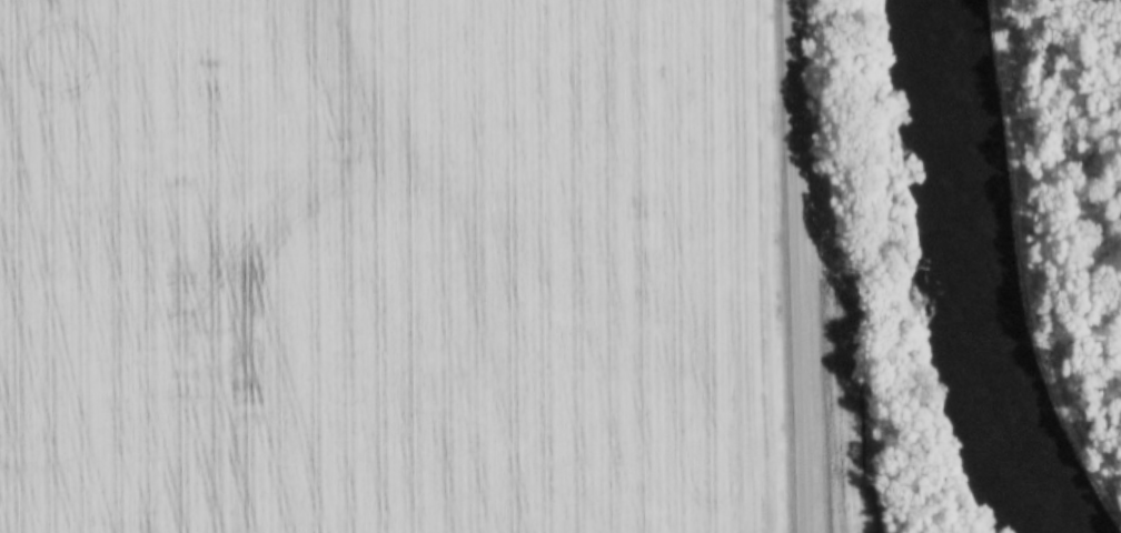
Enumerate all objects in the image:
road: (798, 265)
river: (970, 271)

